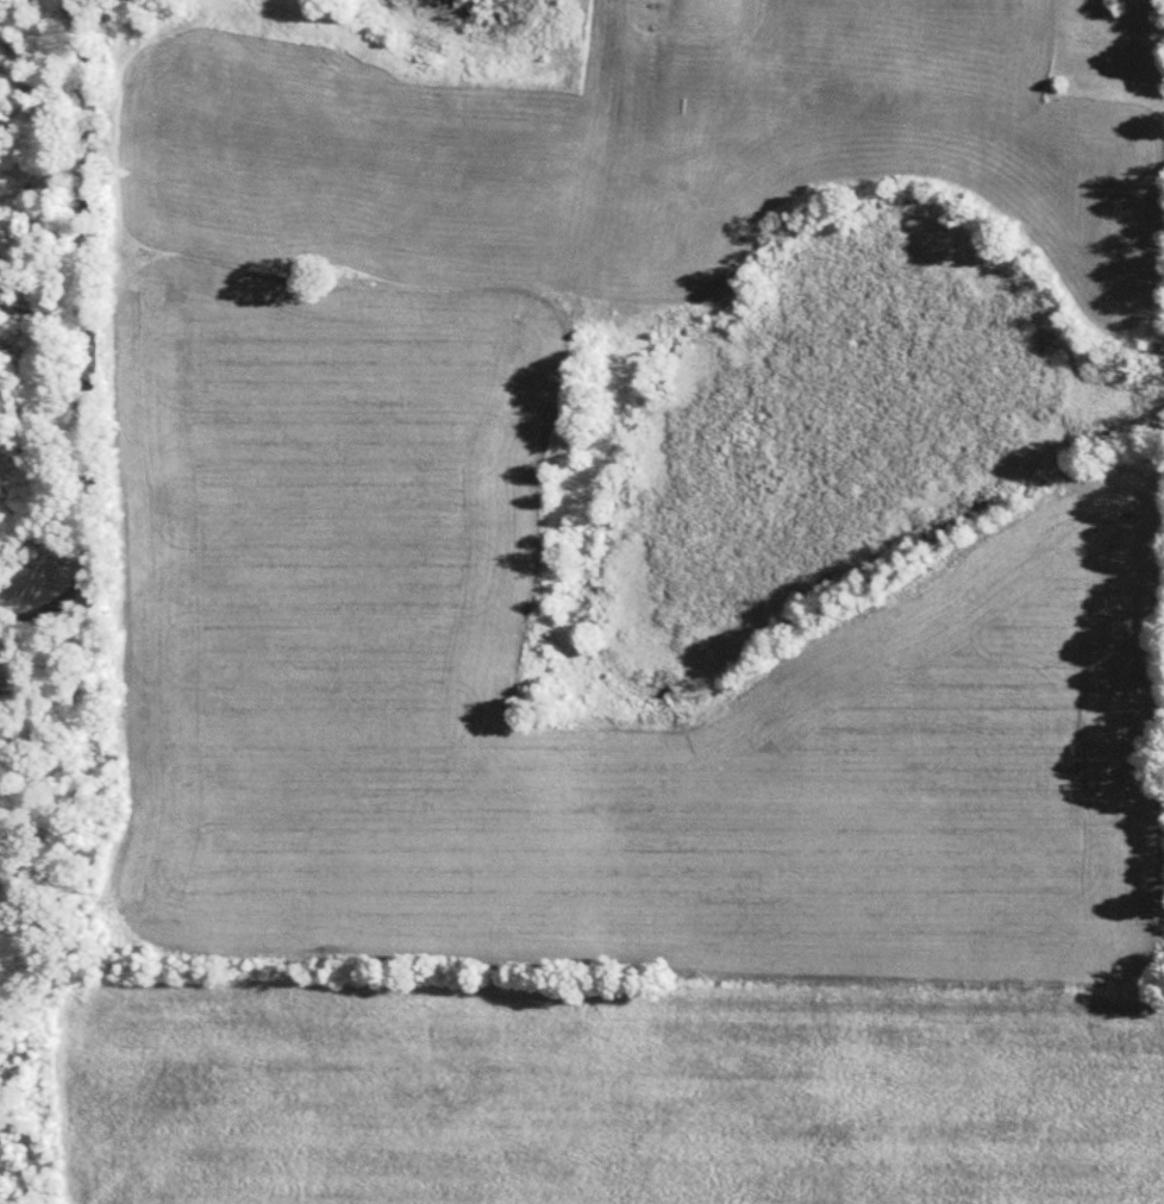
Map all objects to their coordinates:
road: (88, 339)

